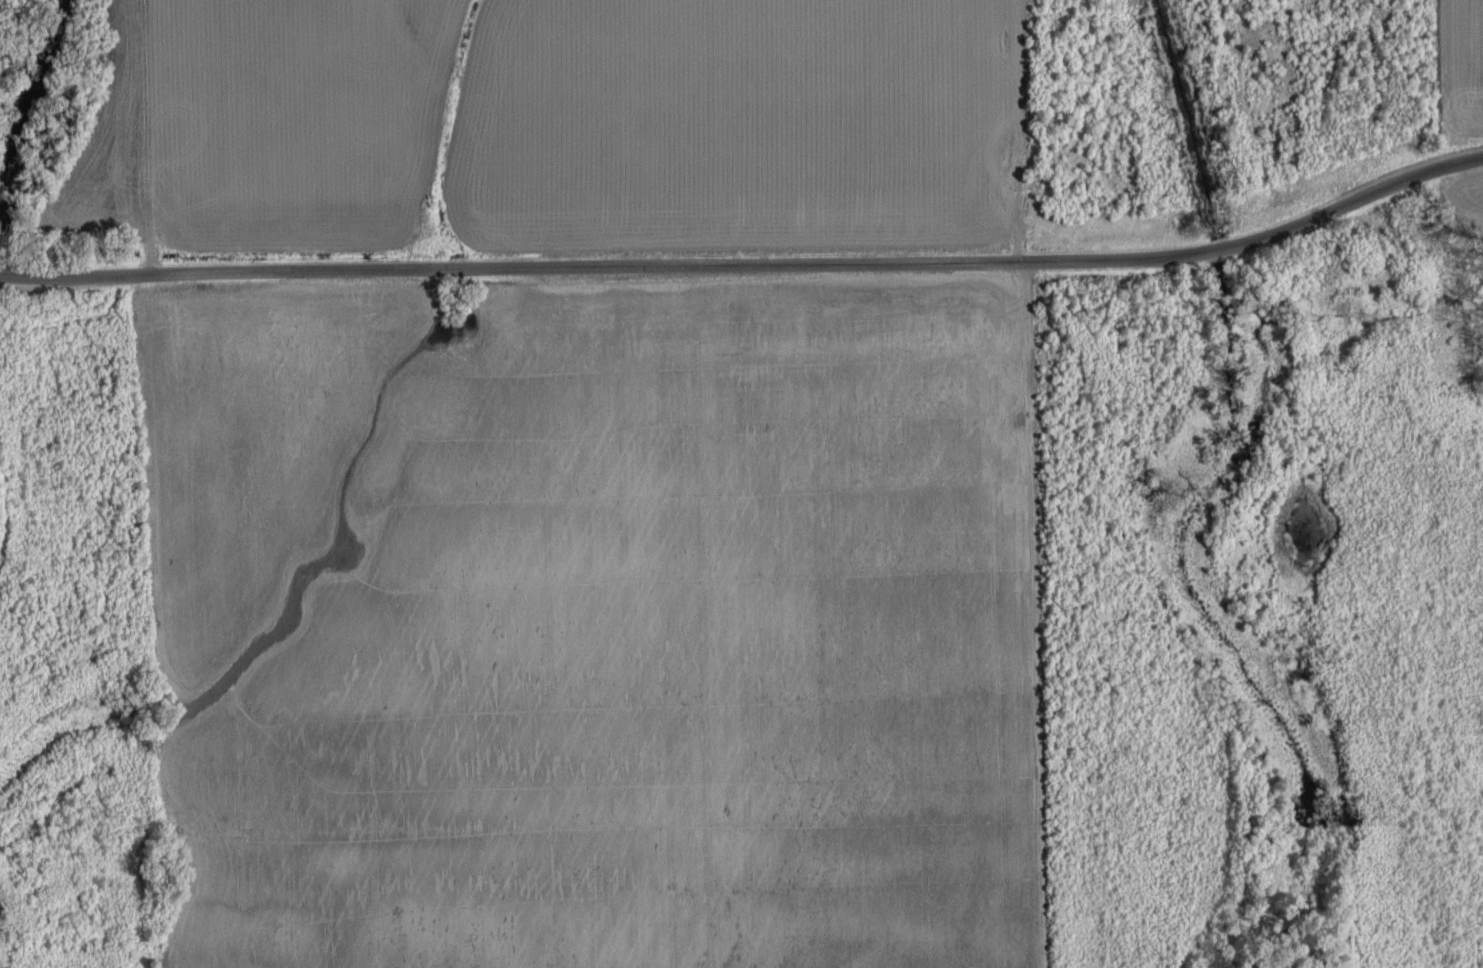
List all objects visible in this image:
river: (27, 77)
road: (751, 264)

